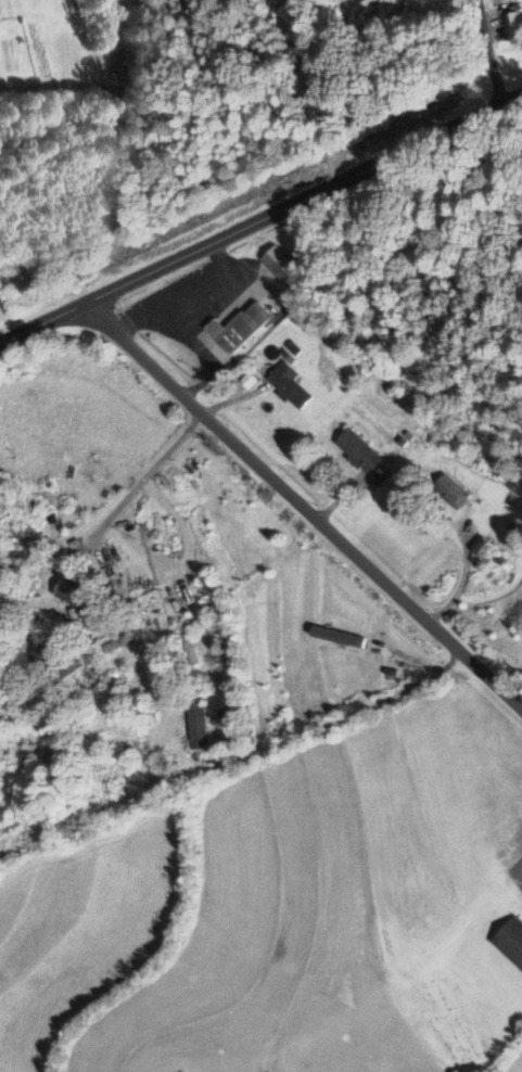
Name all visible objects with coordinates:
building: (510, 23)
road: (485, 52)
road: (260, 215)
building: (278, 264)
building: (238, 327)
building: (287, 384)
building: (356, 449)
road: (141, 476)
building: (448, 492)
road: (300, 507)
building: (66, 585)
building: (37, 652)
building: (63, 666)
road: (343, 714)
building: (194, 725)
building: (69, 806)
building: (510, 940)

